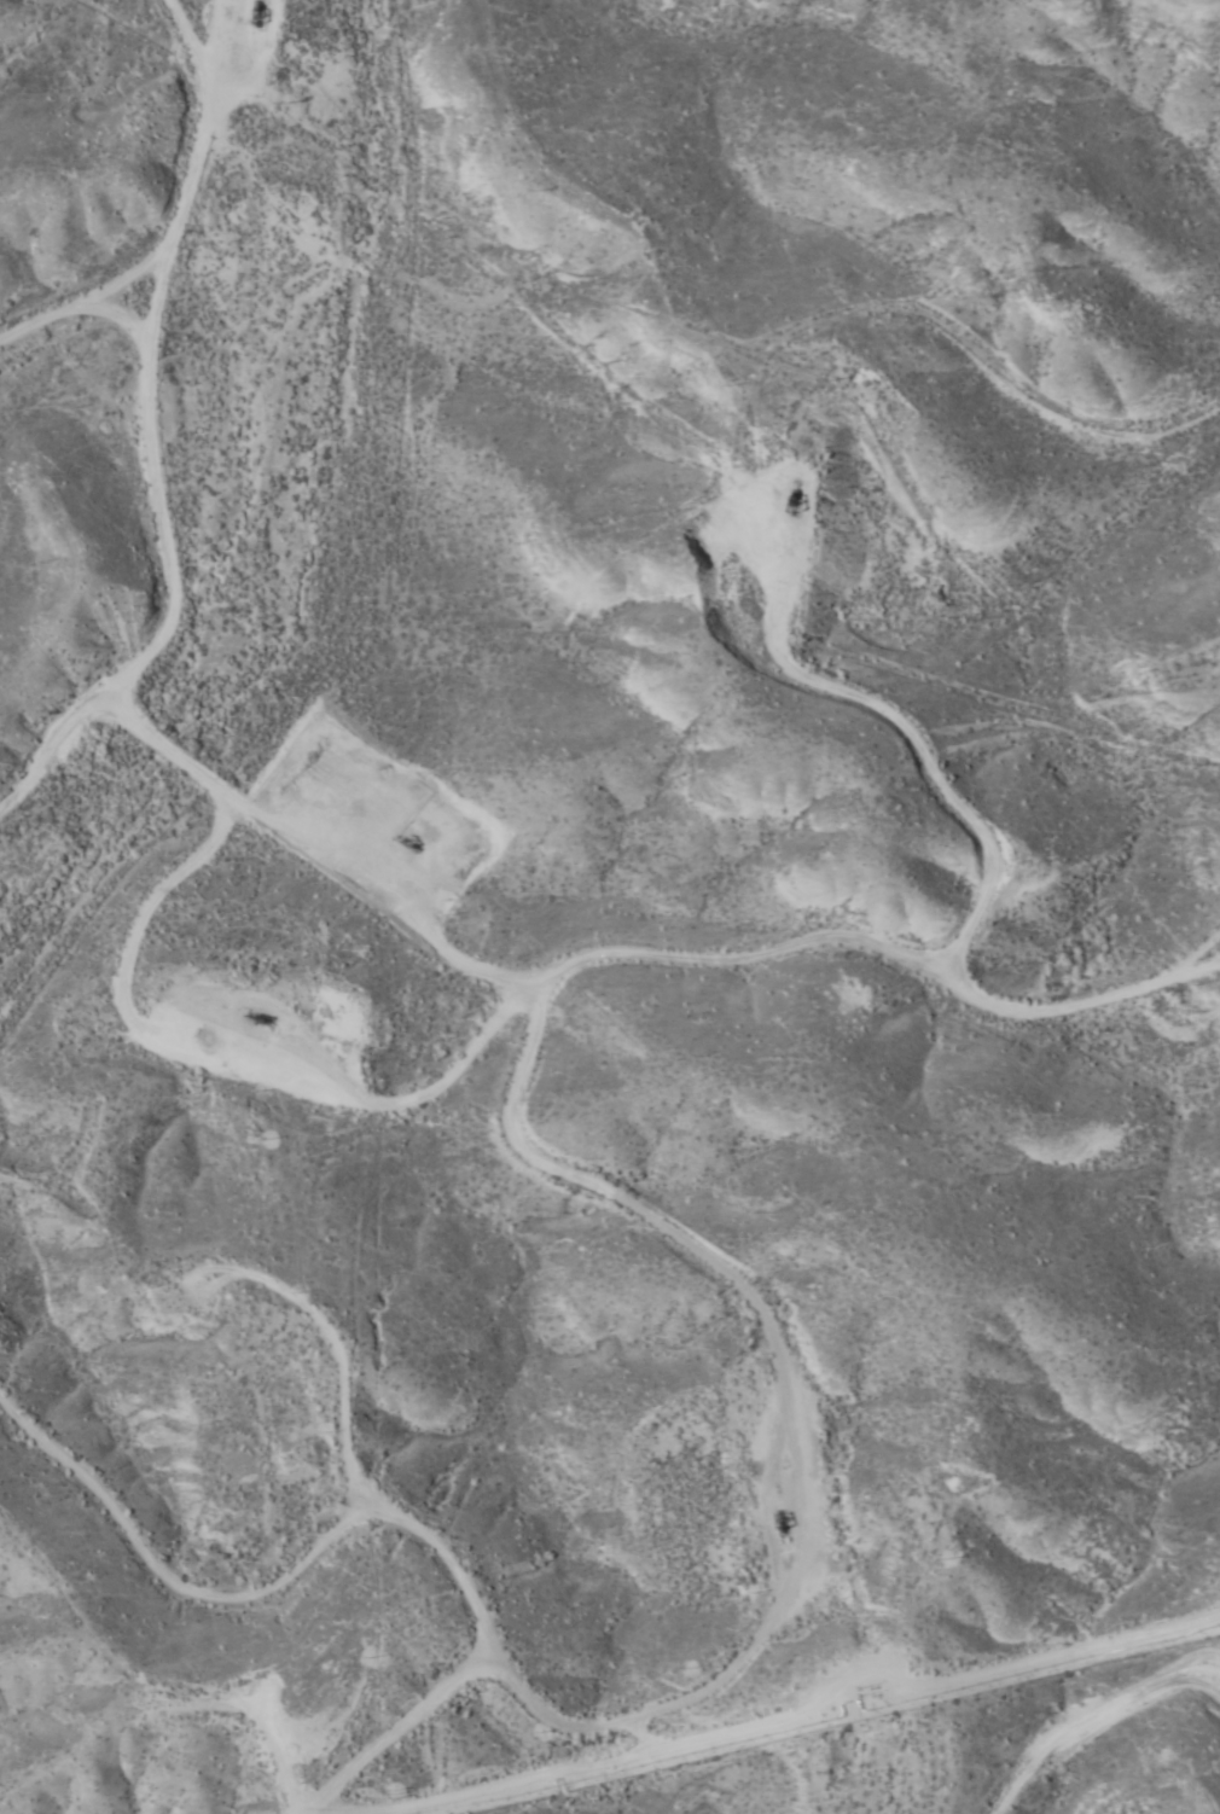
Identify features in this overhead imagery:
road: (184, 429)
road: (592, 921)
road: (1181, 942)
road: (1175, 1033)
road: (349, 1494)

